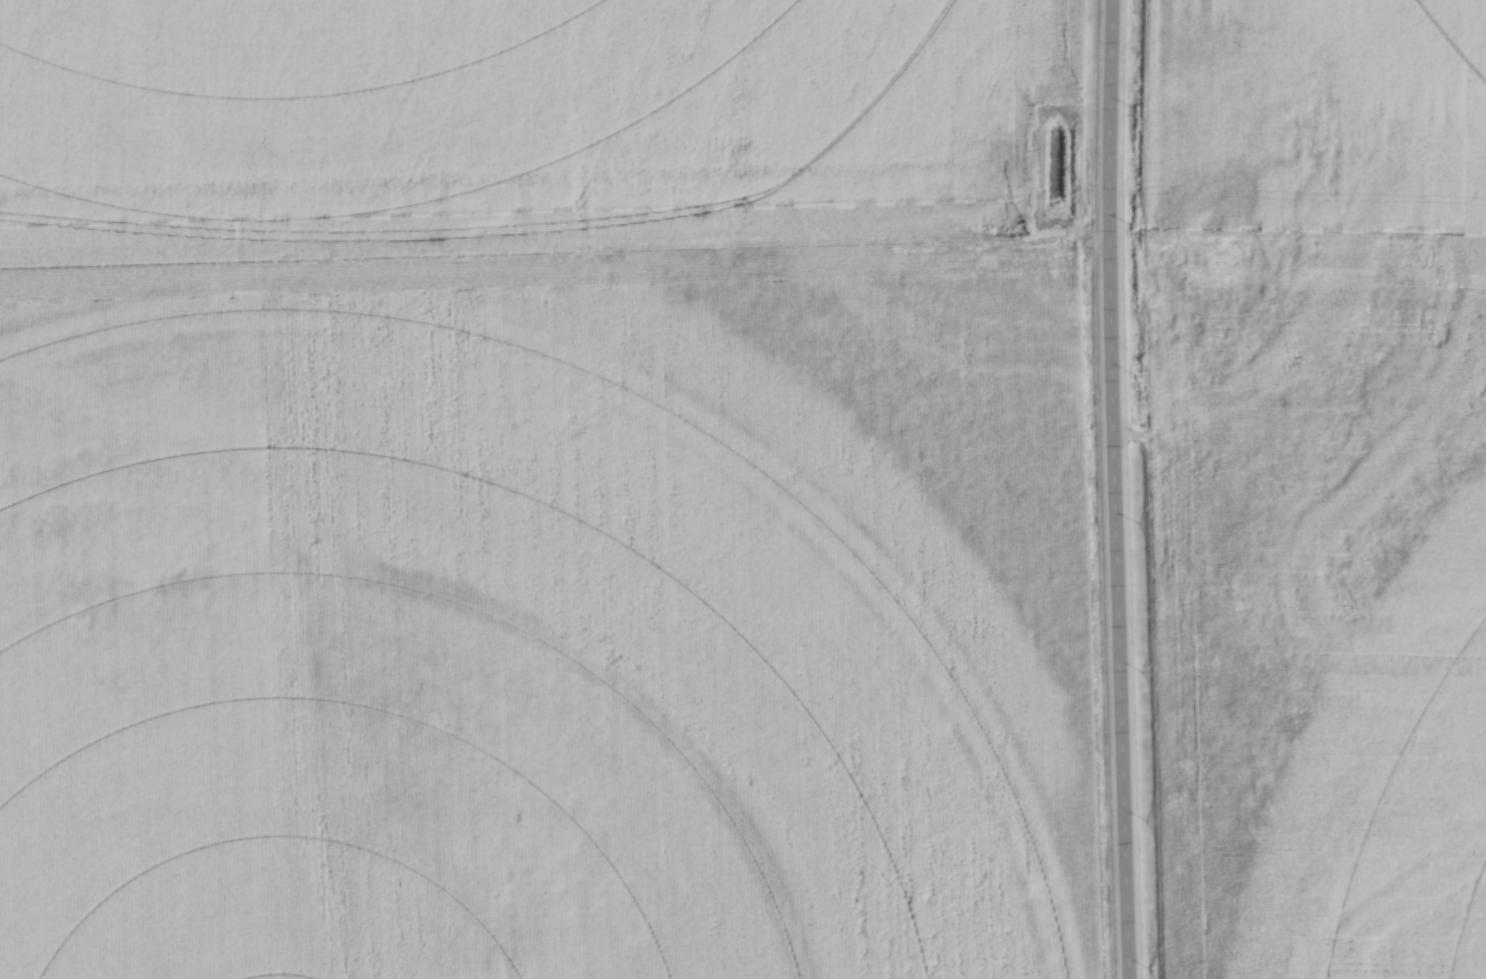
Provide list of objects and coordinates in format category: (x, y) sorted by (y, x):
road: (1116, 489)

